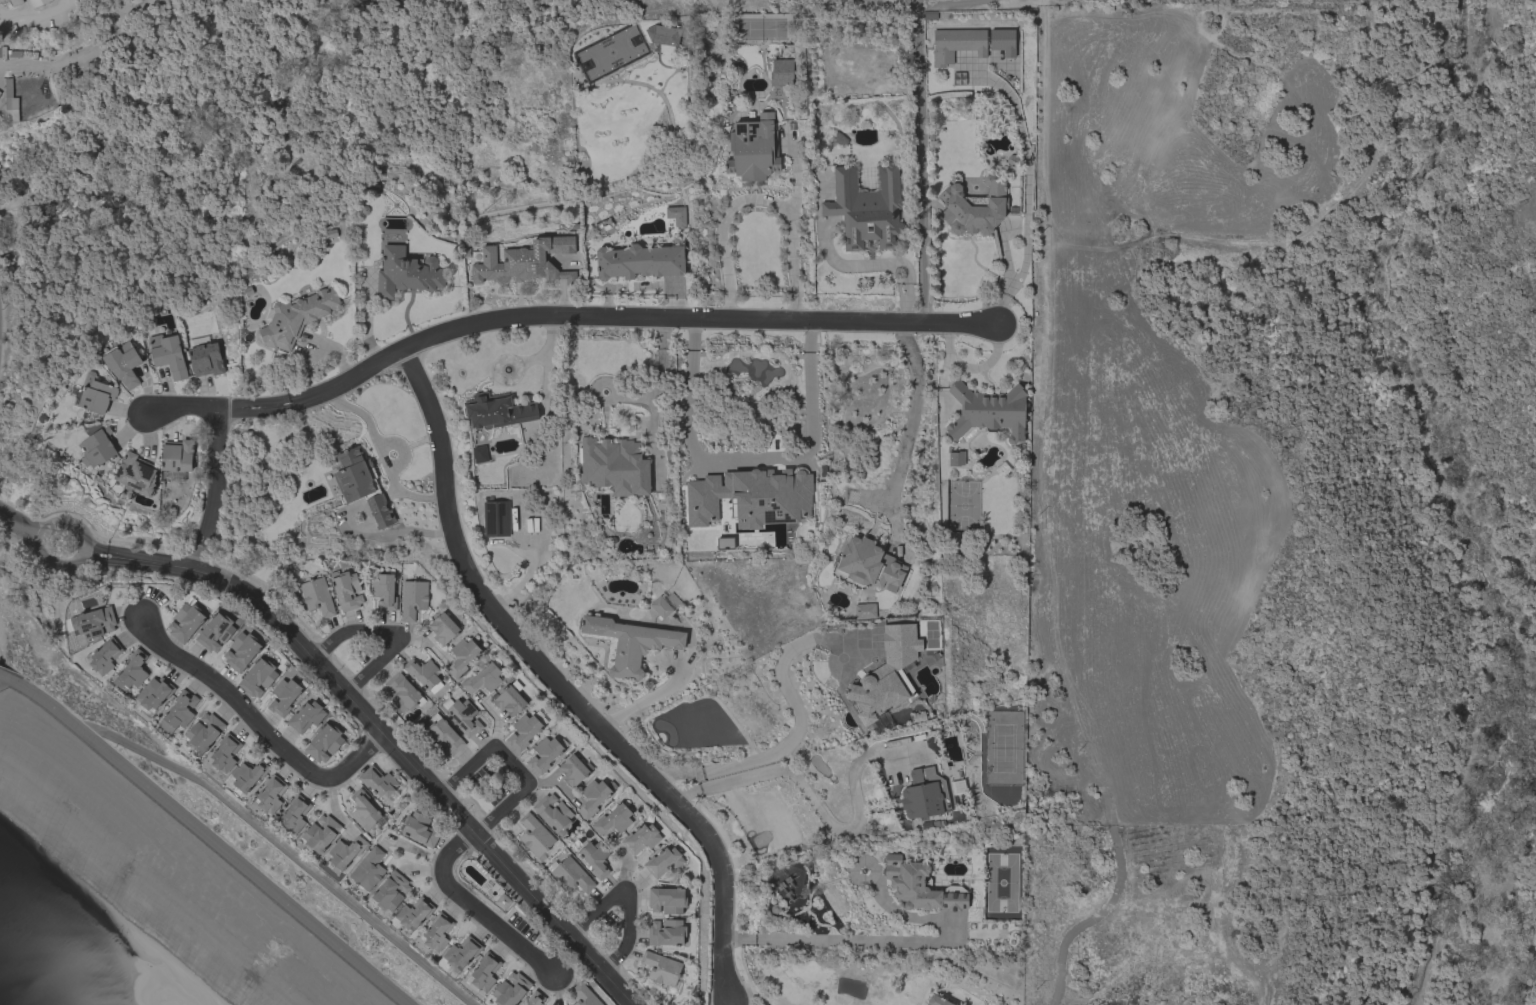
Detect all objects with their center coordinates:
building: (1, 0)
building: (15, 2)
building: (38, 2)
road: (951, 5)
park: (919, 12)
road: (37, 14)
road: (231, 31)
building: (647, 33)
building: (1003, 42)
building: (956, 44)
building: (10, 53)
building: (608, 55)
road: (31, 65)
building: (780, 72)
building: (0, 93)
road: (918, 100)
building: (10, 103)
road: (156, 136)
building: (753, 149)
road: (1048, 189)
road: (12, 190)
road: (755, 200)
building: (974, 206)
building: (867, 208)
building: (676, 216)
road: (1325, 218)
road: (922, 260)
building: (639, 261)
building: (525, 262)
building: (406, 273)
road: (599, 316)
building: (295, 317)
road: (691, 334)
road: (810, 337)
building: (168, 355)
building: (205, 358)
building: (124, 364)
road: (663, 385)
building: (95, 394)
road: (182, 409)
building: (497, 411)
building: (987, 412)
road: (910, 418)
building: (97, 447)
building: (480, 454)
road: (380, 455)
building: (956, 458)
building: (177, 459)
road: (749, 460)
building: (615, 466)
building: (136, 475)
building: (362, 485)
road: (215, 490)
building: (750, 497)
building: (496, 519)
road: (18, 520)
building: (725, 543)
road: (82, 552)
building: (869, 563)
building: (346, 590)
building: (383, 592)
building: (317, 597)
building: (413, 597)
building: (665, 604)
building: (865, 611)
building: (186, 621)
building: (93, 622)
building: (443, 629)
building: (215, 632)
road: (388, 633)
building: (628, 643)
building: (241, 651)
building: (105, 656)
building: (461, 656)
building: (132, 671)
building: (424, 674)
building: (887, 675)
building: (258, 677)
building: (484, 678)
road: (561, 683)
building: (402, 693)
building: (152, 697)
building: (284, 697)
road: (647, 697)
building: (510, 700)
building: (178, 712)
building: (464, 716)
building: (306, 717)
road: (259, 726)
building: (525, 730)
building: (204, 733)
road: (383, 737)
building: (443, 738)
road: (793, 741)
building: (324, 742)
building: (225, 753)
building: (545, 753)
road: (477, 763)
building: (574, 770)
building: (248, 776)
building: (379, 783)
road: (554, 783)
building: (271, 794)
building: (924, 794)
building: (594, 797)
road: (513, 800)
building: (364, 810)
road: (820, 810)
building: (294, 814)
building: (553, 814)
building: (613, 820)
building: (419, 829)
building: (320, 833)
road: (207, 836)
building: (535, 837)
building: (640, 839)
road: (285, 850)
building: (345, 853)
building: (593, 857)
road: (623, 860)
building: (663, 862)
building: (368, 869)
building: (570, 875)
building: (921, 886)
building: (789, 888)
building: (389, 891)
road: (628, 897)
building: (666, 900)
building: (503, 901)
road: (474, 908)
building: (414, 913)
parking lot: (607, 919)
parking lot: (521, 927)
building: (437, 932)
building: (666, 932)
road: (897, 944)
building: (462, 952)
building: (661, 968)
building: (485, 971)
building: (510, 989)
building: (584, 995)
road: (755, 996)
building: (535, 999)
road: (728, 1001)
road: (734, 1001)
building: (937, 1001)

